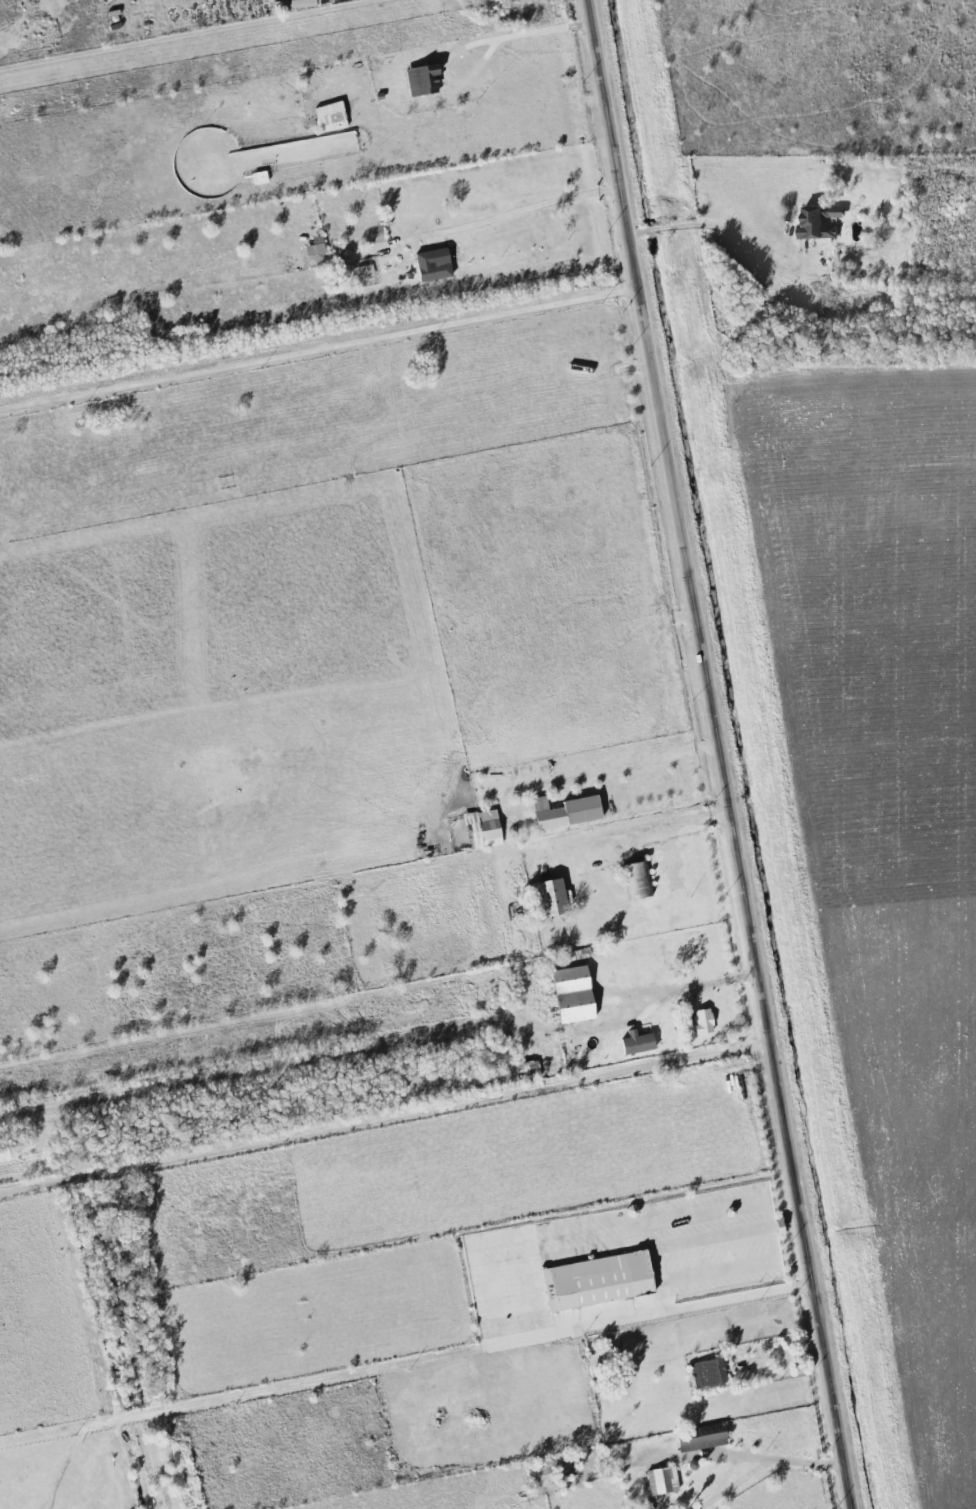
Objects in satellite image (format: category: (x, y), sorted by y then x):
road: (526, 26)
building: (426, 78)
building: (333, 116)
road: (513, 209)
road: (721, 227)
building: (436, 264)
road: (318, 350)
road: (719, 754)
building: (570, 812)
road: (645, 827)
building: (486, 829)
building: (555, 897)
road: (692, 980)
building: (578, 994)
building: (706, 1021)
building: (640, 1043)
building: (601, 1279)
road: (780, 1357)
road: (405, 1359)
building: (710, 1371)
road: (751, 1455)
building: (665, 1479)

